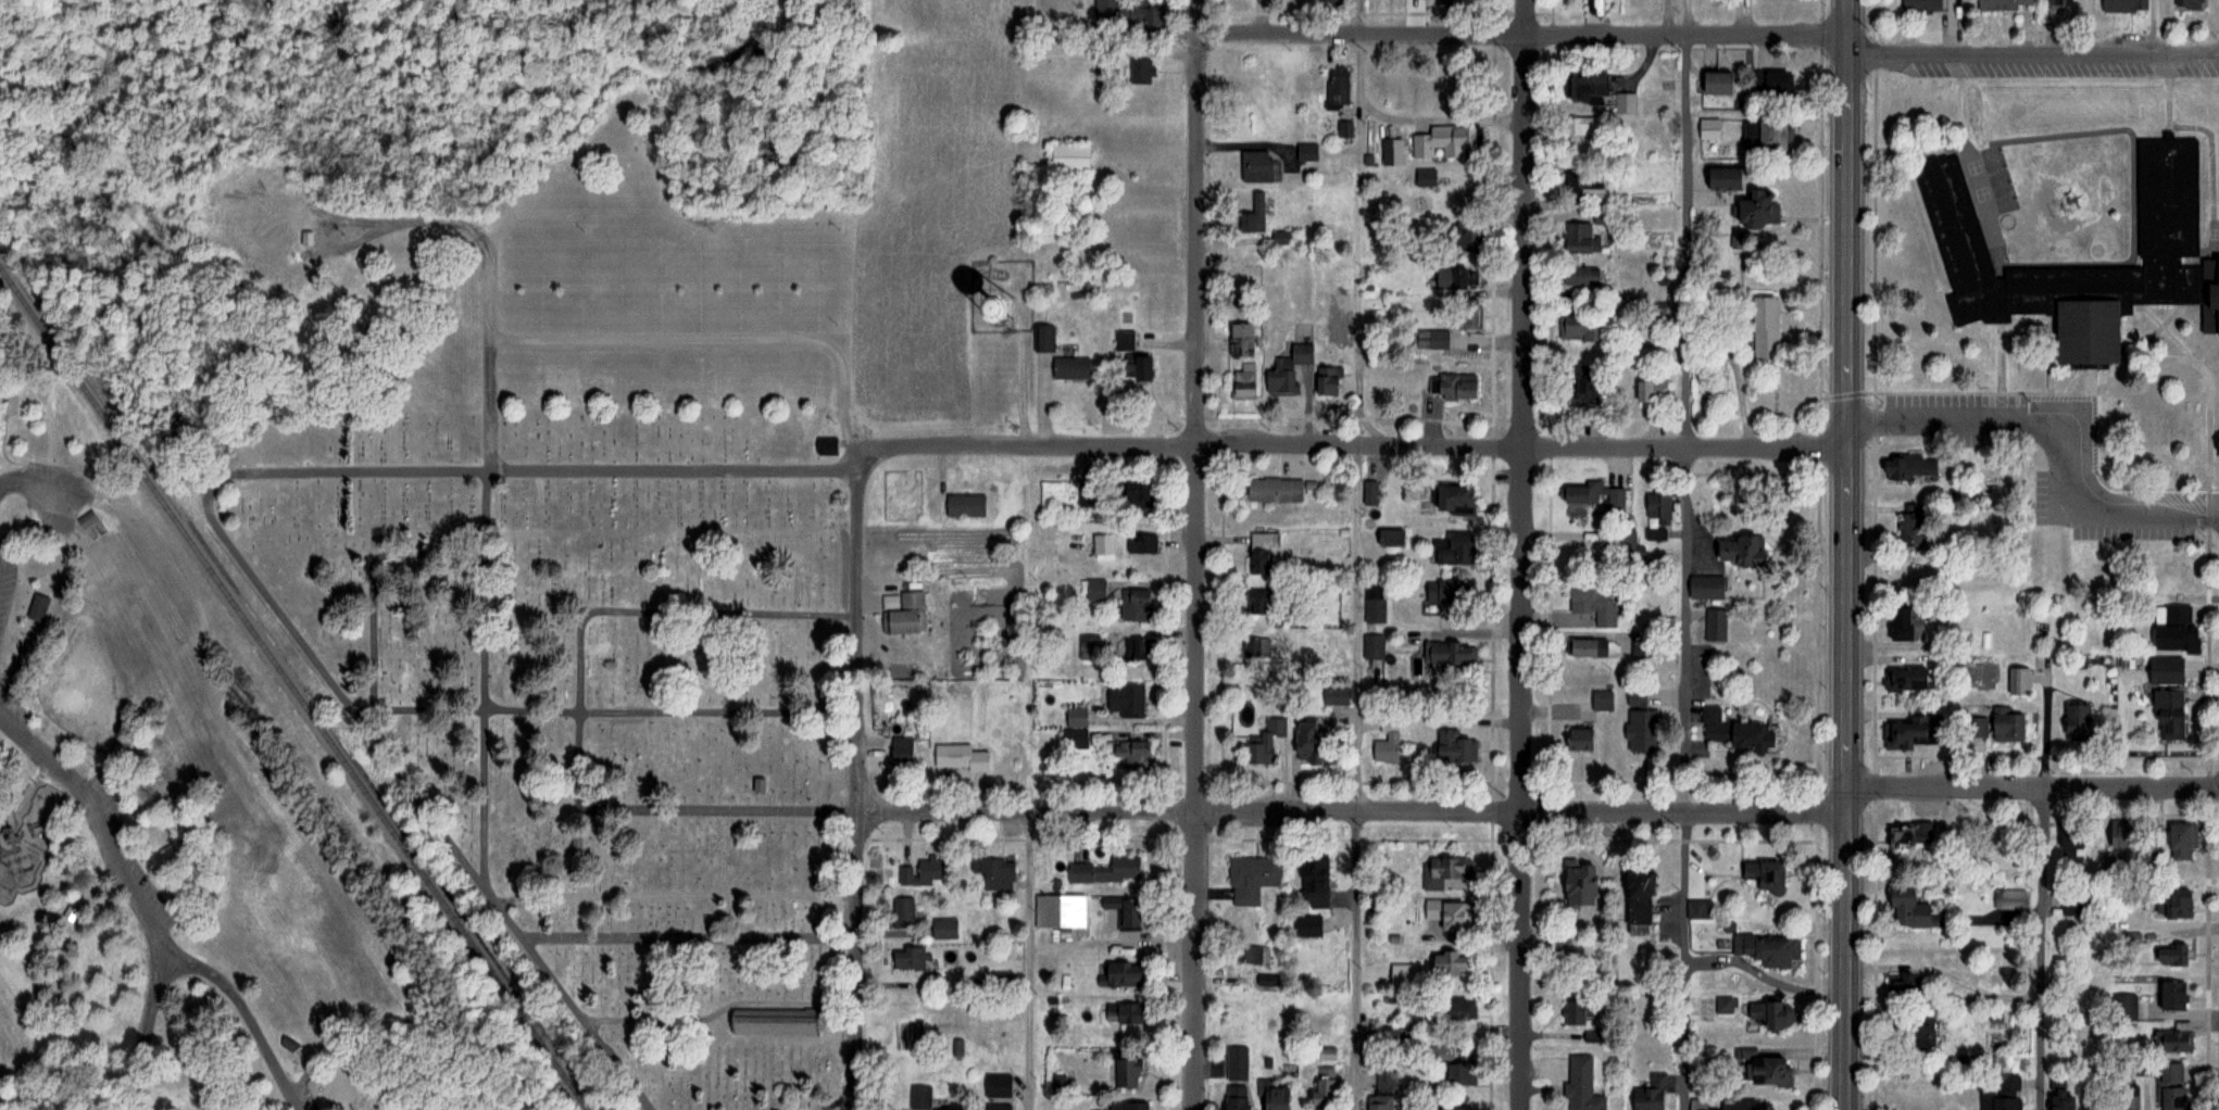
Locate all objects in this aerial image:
building: (1329, 1)
building: (2057, 2)
building: (2186, 3)
building: (1919, 4)
building: (2003, 4)
building: (2122, 5)
building: (1123, 13)
road: (1521, 35)
road: (2033, 53)
building: (1140, 71)
building: (1767, 80)
building: (1712, 81)
building: (1336, 87)
building: (1581, 88)
building: (1623, 102)
building: (1576, 126)
building: (1767, 134)
building: (1444, 142)
building: (1306, 152)
building: (1068, 156)
building: (1254, 165)
building: (1422, 177)
building: (1721, 178)
building: (1579, 181)
building: (1456, 194)
building: (1754, 209)
building: (2166, 214)
building: (1252, 215)
building: (1462, 234)
building: (305, 238)
building: (1574, 238)
building: (1575, 276)
building: (1453, 278)
water tower: (1004, 305)
building: (961, 310)
building: (1760, 313)
building: (1467, 314)
building: (1576, 327)
building: (1430, 338)
road: (725, 339)
building: (1042, 339)
building: (1240, 339)
building: (1070, 367)
building: (1133, 369)
building: (1288, 369)
building: (1242, 381)
building: (1327, 381)
building: (1575, 383)
building: (1452, 387)
building: (1648, 389)
road: (490, 411)
road: (2053, 437)
road: (1356, 444)
building: (826, 445)
building: (1907, 467)
parking lot: (59, 471)
road: (45, 487)
building: (1274, 490)
building: (1369, 492)
building: (1130, 493)
building: (1582, 493)
building: (1452, 500)
building: (1618, 501)
parking lot: (55, 505)
building: (965, 505)
building: (1656, 508)
building: (90, 518)
building: (30, 525)
building: (1908, 529)
building: (1389, 538)
building: (1141, 543)
building: (1627, 547)
building: (1450, 550)
building: (1732, 551)
building: (1262, 552)
road: (1195, 554)
road: (1522, 554)
road: (1848, 555)
building: (2172, 575)
building: (1897, 578)
park: (569, 584)
building: (1705, 586)
building: (1094, 590)
building: (1447, 593)
building: (1256, 602)
building: (1374, 602)
building: (1592, 604)
building: (1133, 605)
building: (40, 606)
building: (904, 615)
building: (1905, 623)
building: (1714, 626)
building: (2170, 627)
parking lot: (3, 629)
road: (1357, 629)
road: (1675, 630)
building: (1089, 645)
building: (1256, 647)
building: (1372, 647)
building: (1585, 647)
building: (1134, 653)
building: (1450, 654)
building: (2164, 669)
building: (1903, 679)
building: (2017, 680)
railway: (293, 688)
building: (1334, 695)
building: (1126, 699)
building: (1601, 701)
building: (2169, 712)
building: (1076, 714)
building: (2073, 718)
building: (1996, 724)
building: (1735, 733)
building: (1905, 733)
building: (1074, 739)
building: (1578, 740)
building: (1264, 742)
building: (1309, 743)
building: (1387, 747)
building: (1453, 747)
building: (899, 748)
building: (1132, 754)
building: (958, 757)
road: (856, 782)
road: (2034, 786)
road: (96, 805)
road: (1353, 811)
building: (1906, 834)
building: (2119, 834)
park: (189, 836)
building: (2180, 841)
parking lot: (133, 855)
building: (1106, 871)
building: (920, 873)
building: (992, 873)
building: (1444, 874)
building: (1762, 874)
building: (1243, 881)
building: (1313, 882)
building: (1576, 884)
building: (2009, 897)
building: (1634, 903)
building: (2176, 905)
building: (1904, 908)
building: (1697, 909)
building: (1057, 912)
building: (1128, 912)
building: (902, 913)
building: (1446, 915)
building: (1306, 925)
building: (943, 926)
road: (171, 948)
building: (1766, 948)
road: (159, 955)
building: (1250, 956)
building: (2170, 956)
building: (908, 958)
road: (1343, 960)
building: (1445, 963)
road: (173, 970)
building: (1117, 975)
building: (1267, 980)
building: (1901, 985)
building: (2170, 996)
building: (1726, 1005)
building: (2124, 1007)
building: (1456, 1011)
building: (1124, 1013)
building: (1571, 1013)
building: (1768, 1016)
building: (772, 1022)
road: (262, 1026)
building: (1914, 1031)
building: (2172, 1040)
road: (142, 1047)
building: (1236, 1063)
building: (1766, 1071)
building: (1126, 1072)
building: (2168, 1073)
building: (1455, 1074)
building: (998, 1085)
building: (1580, 1085)
building: (1321, 1086)
building: (1382, 1093)
building: (2005, 1093)
building: (1648, 1094)
building: (1273, 1096)
building: (920, 1097)
building: (1233, 1097)
building: (2127, 1097)
building: (2169, 1098)
building: (2058, 1100)
building: (1734, 1103)
building: (998, 1106)
building: (1126, 1106)
building: (1450, 1109)

